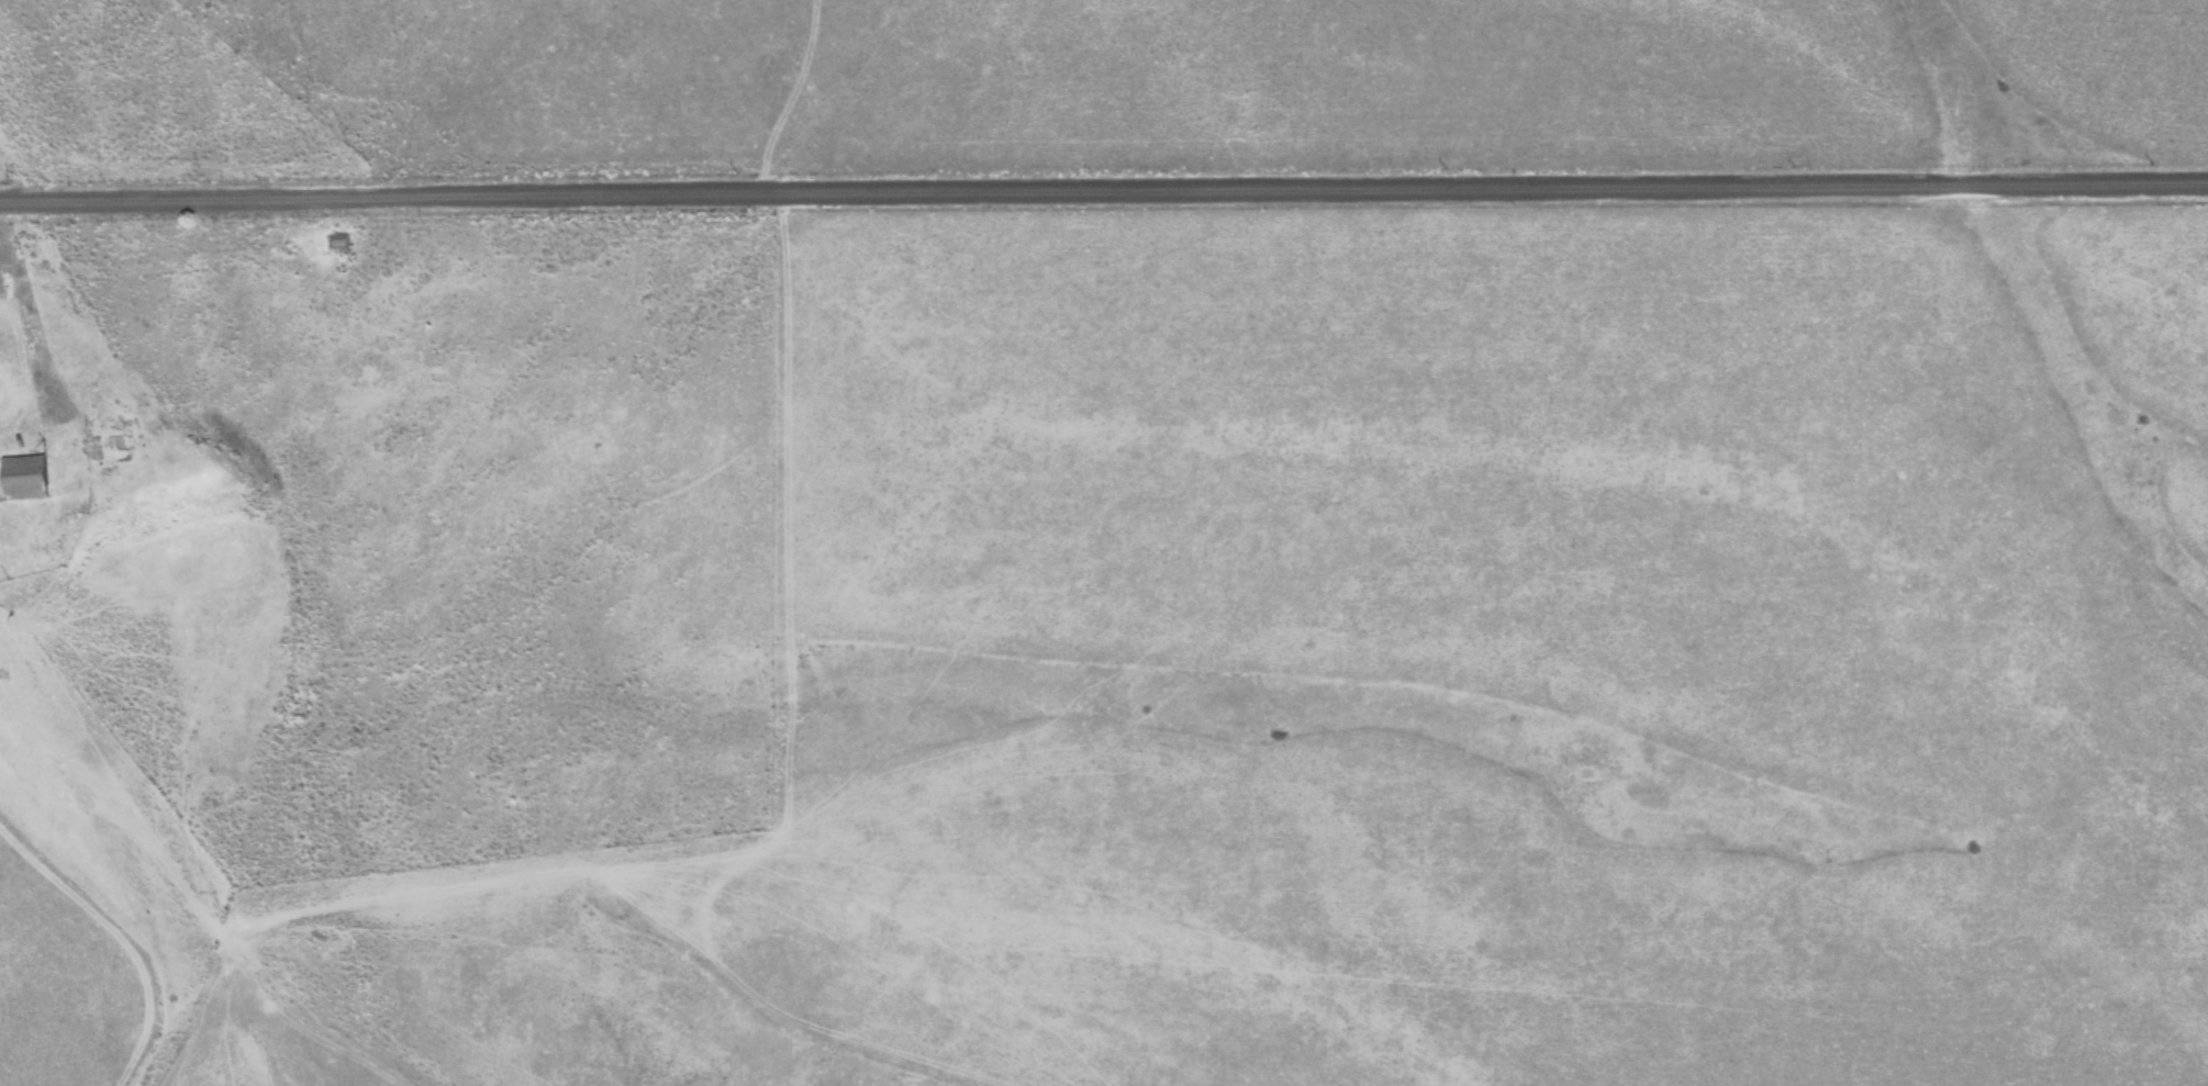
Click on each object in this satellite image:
road: (1104, 192)
building: (20, 479)

